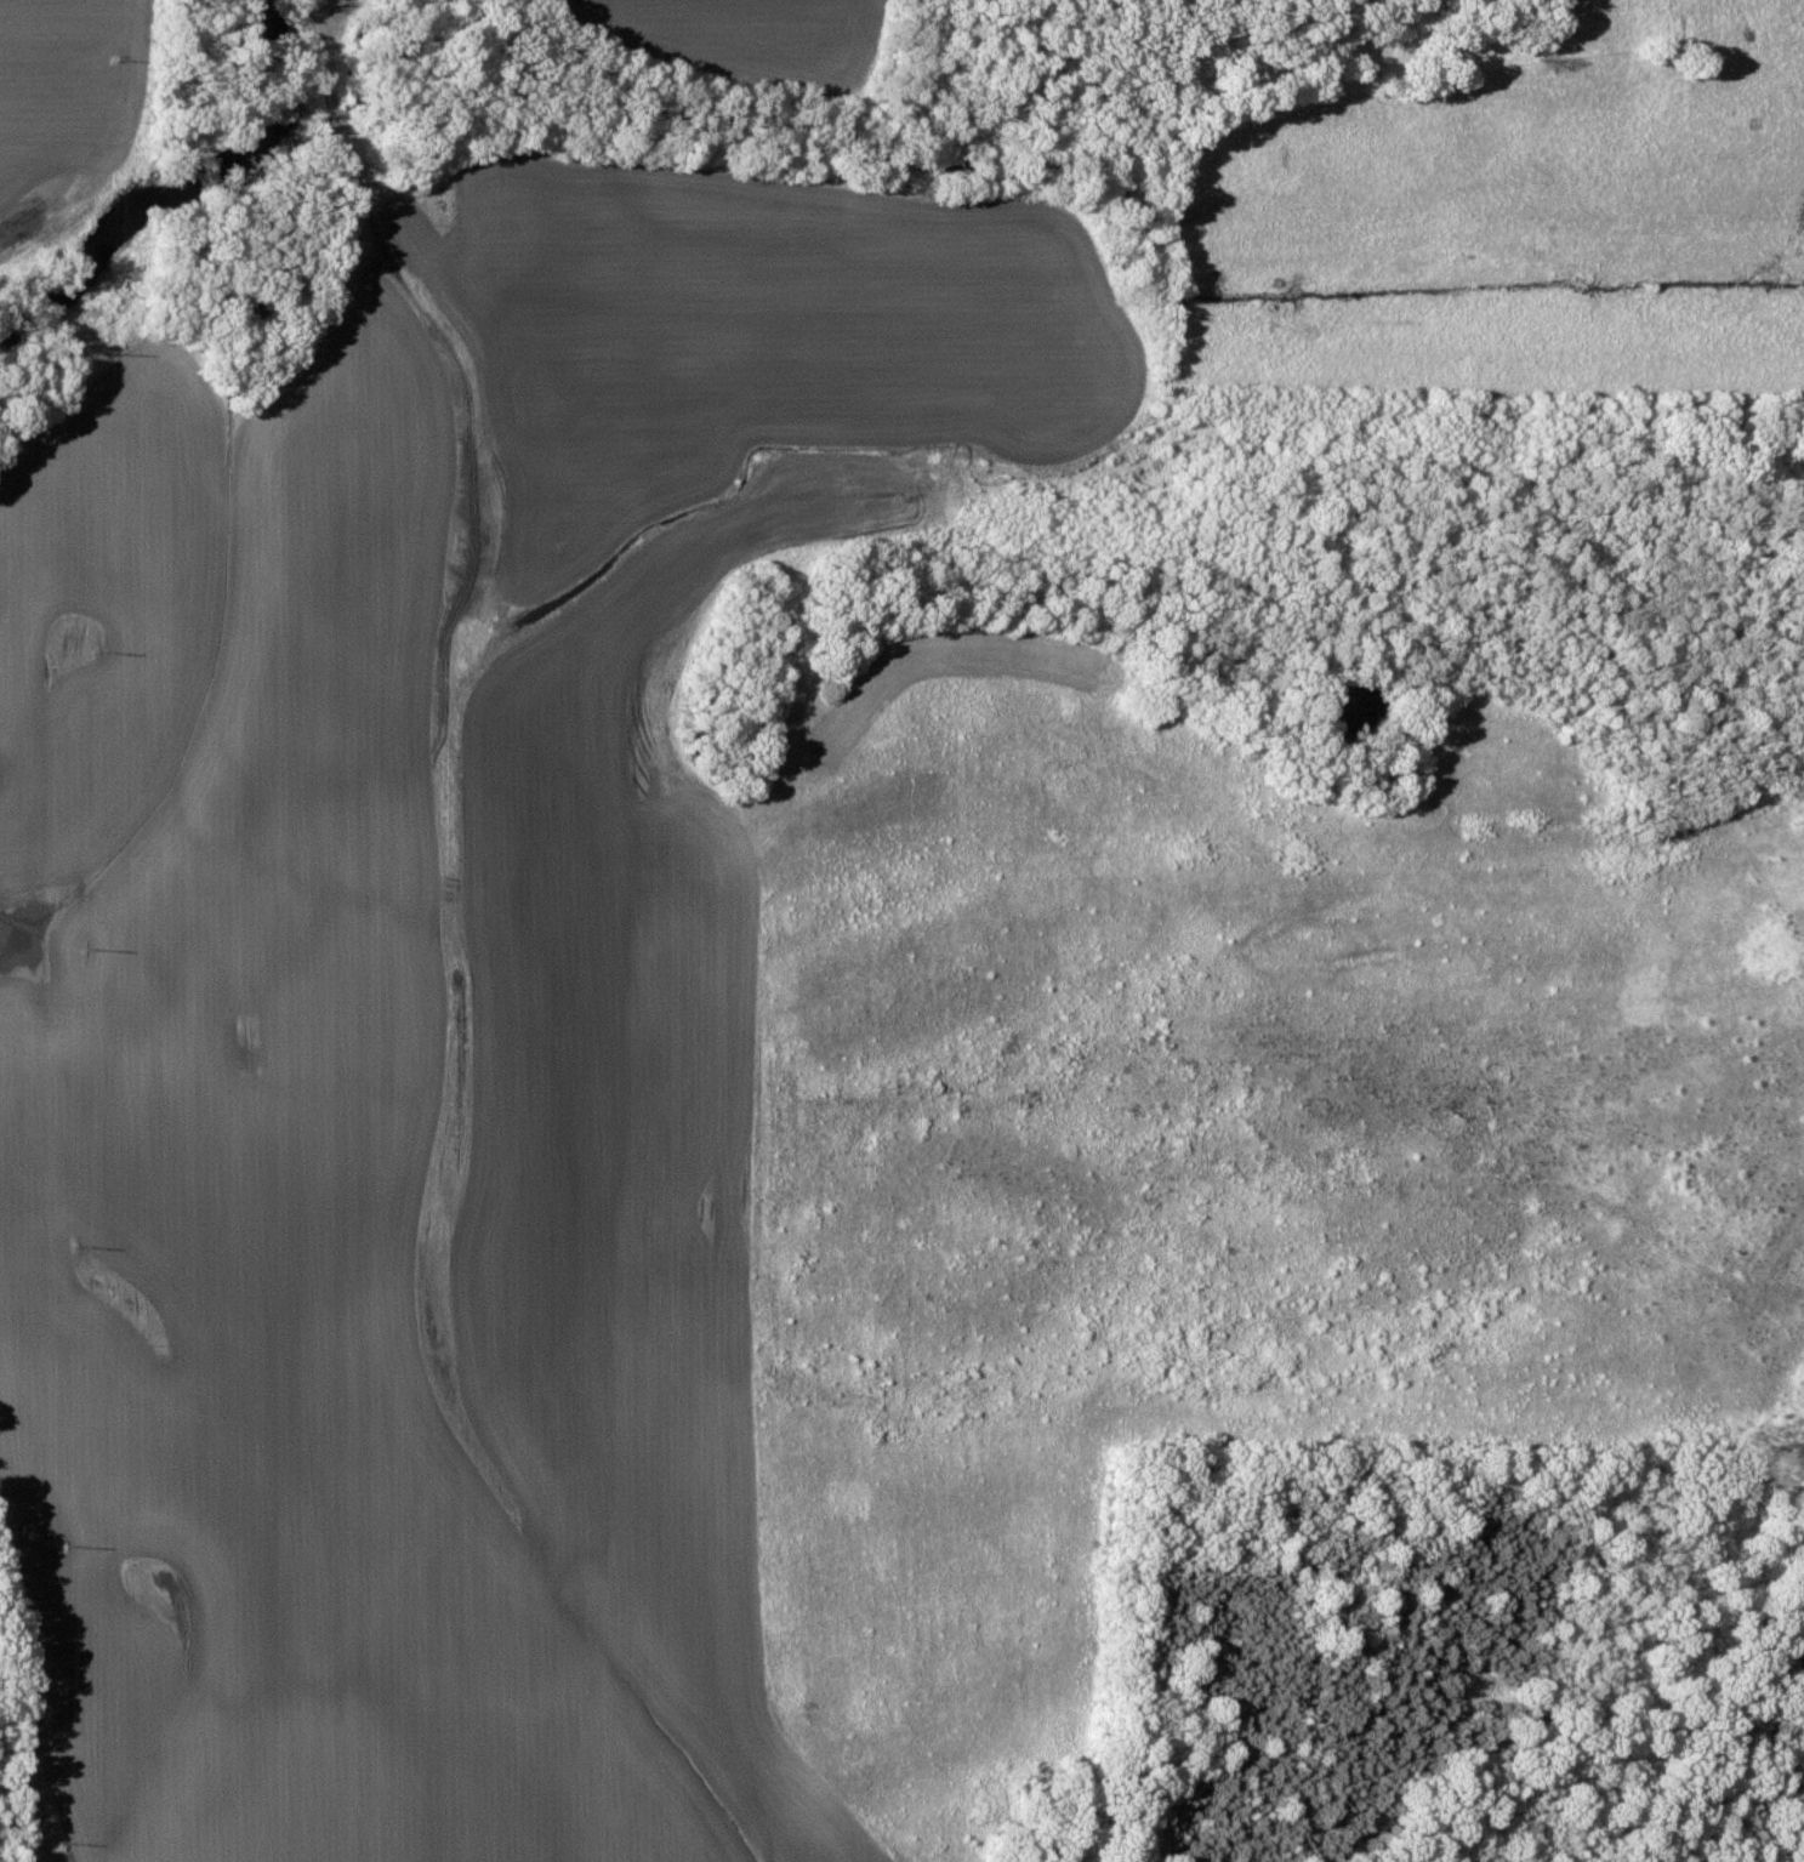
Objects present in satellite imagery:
river: (176, 184)

